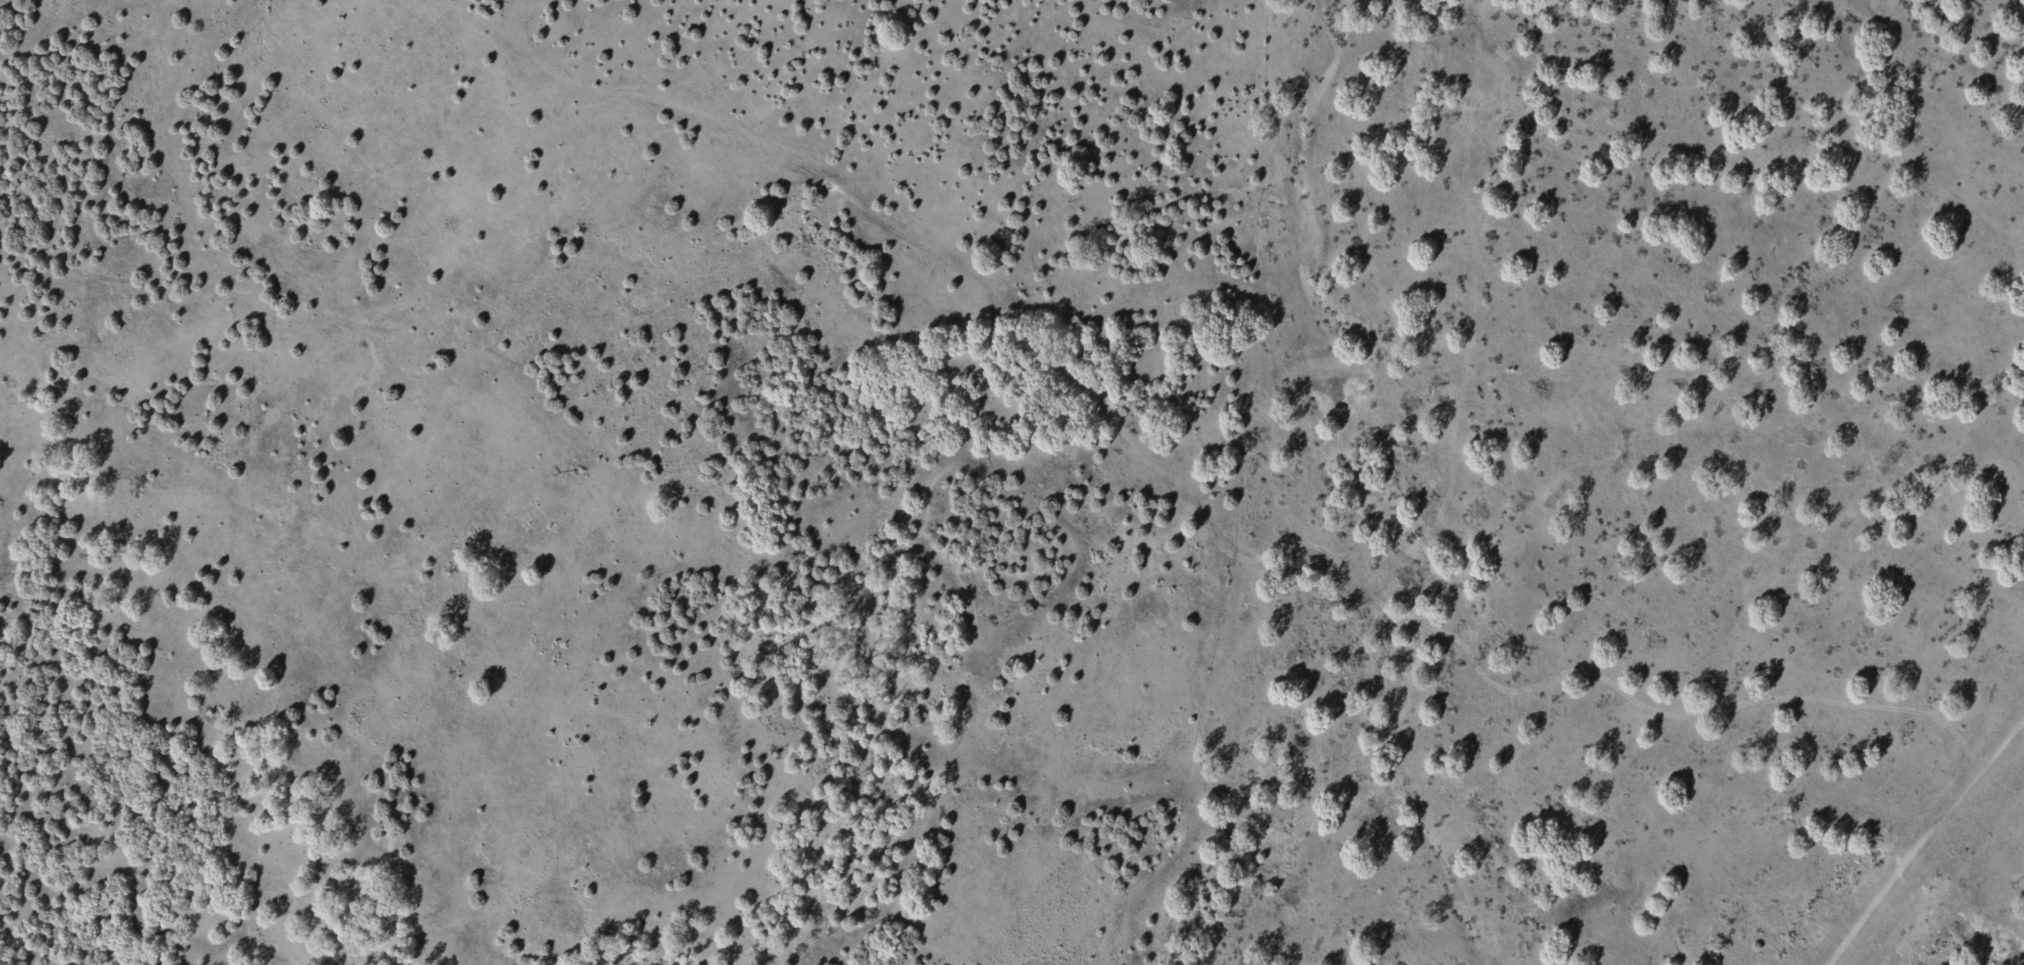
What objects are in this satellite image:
airport runway: (1930, 849)

